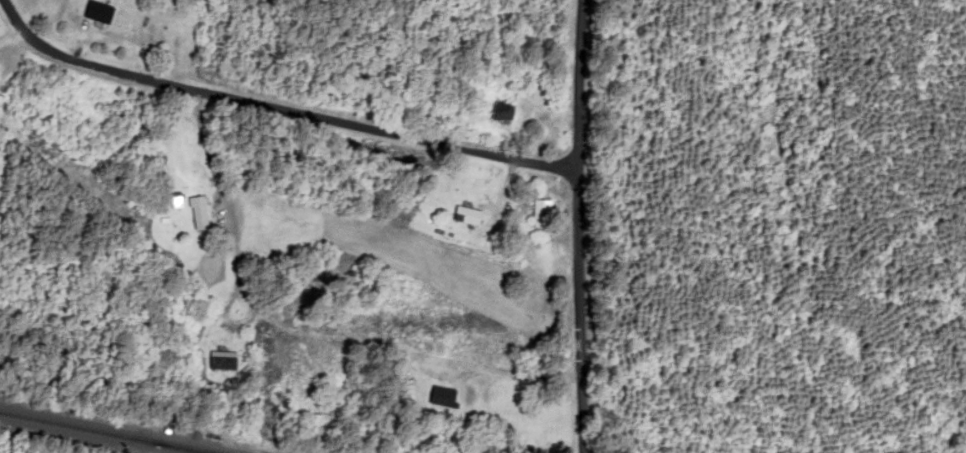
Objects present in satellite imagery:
building: (98, 13)
road: (279, 109)
building: (503, 115)
building: (199, 214)
building: (467, 217)
road: (578, 226)
road: (292, 338)
building: (223, 362)
building: (442, 398)
railway: (114, 431)

